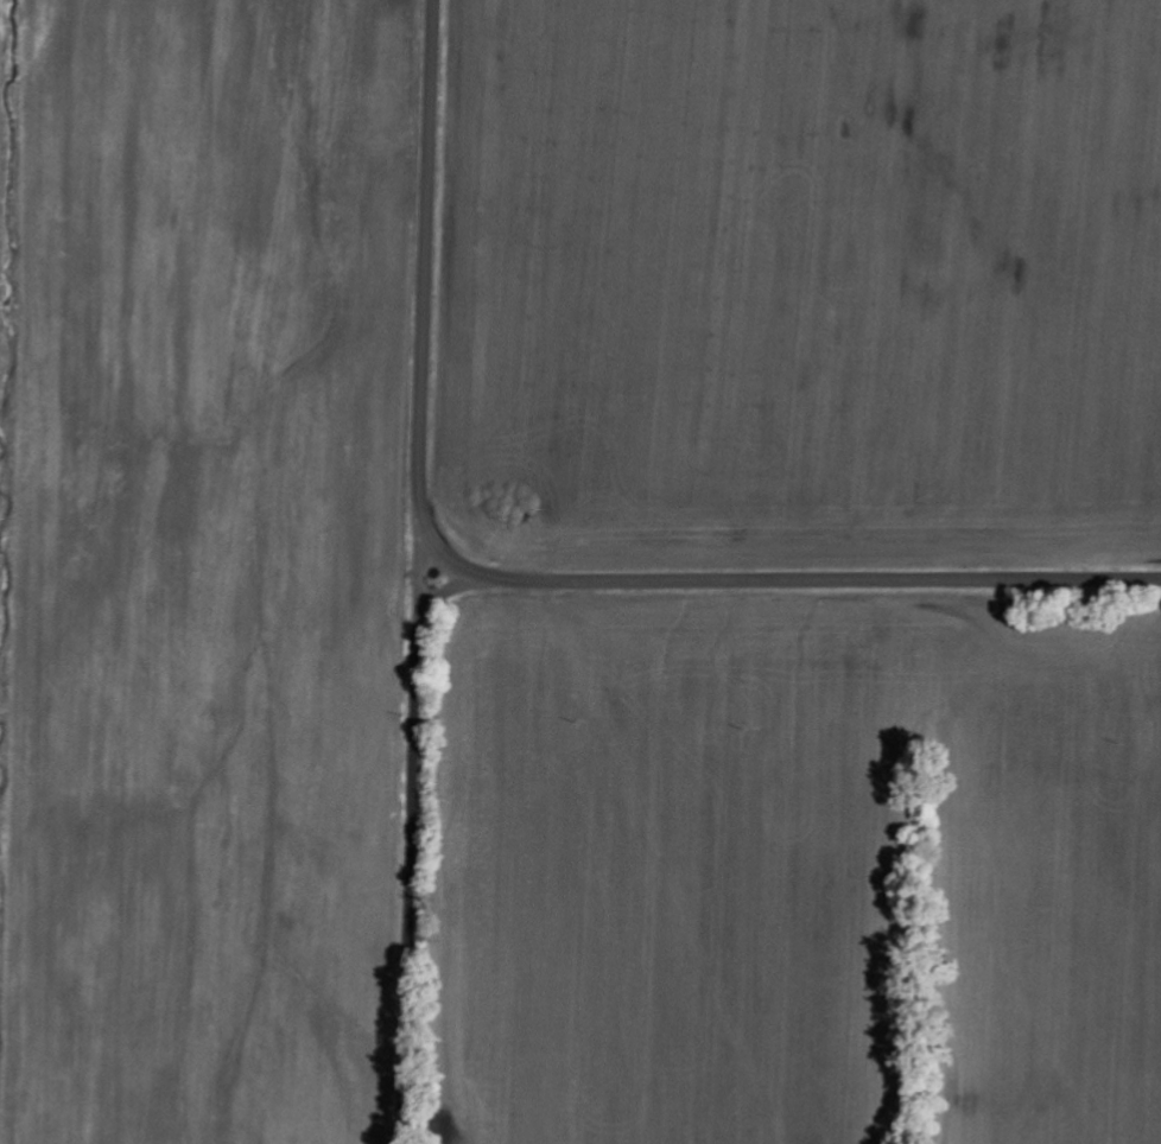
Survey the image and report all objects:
road: (421, 576)
road: (519, 580)
road: (405, 838)

